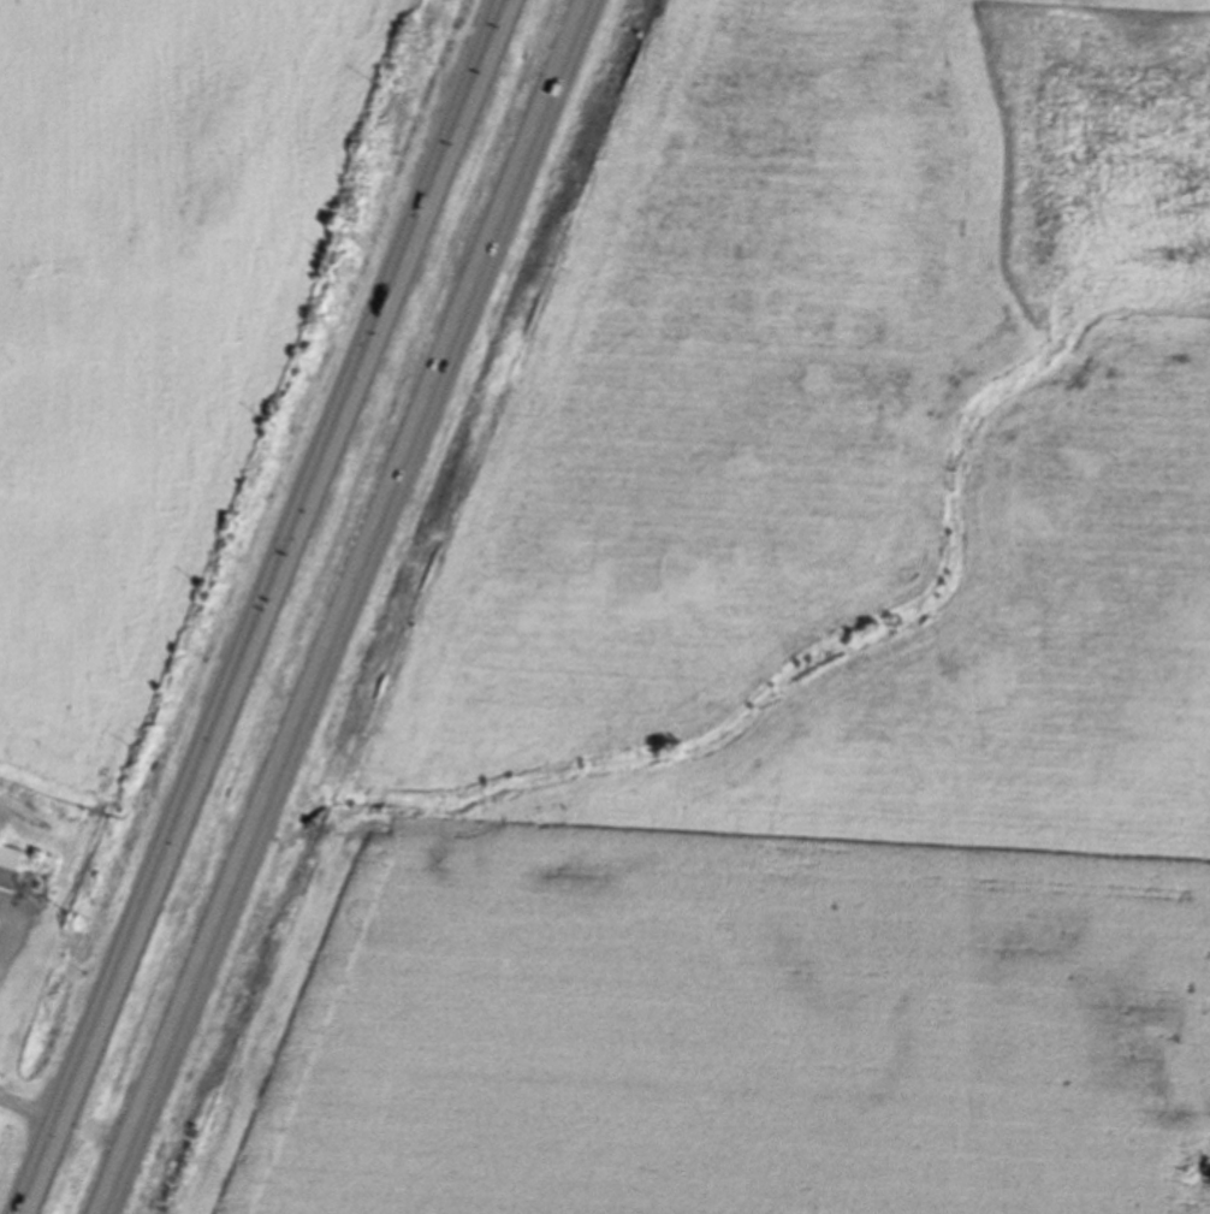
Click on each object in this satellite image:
road: (343, 606)
road: (256, 608)
building: (6, 861)
road: (1, 937)
road: (24, 1112)

